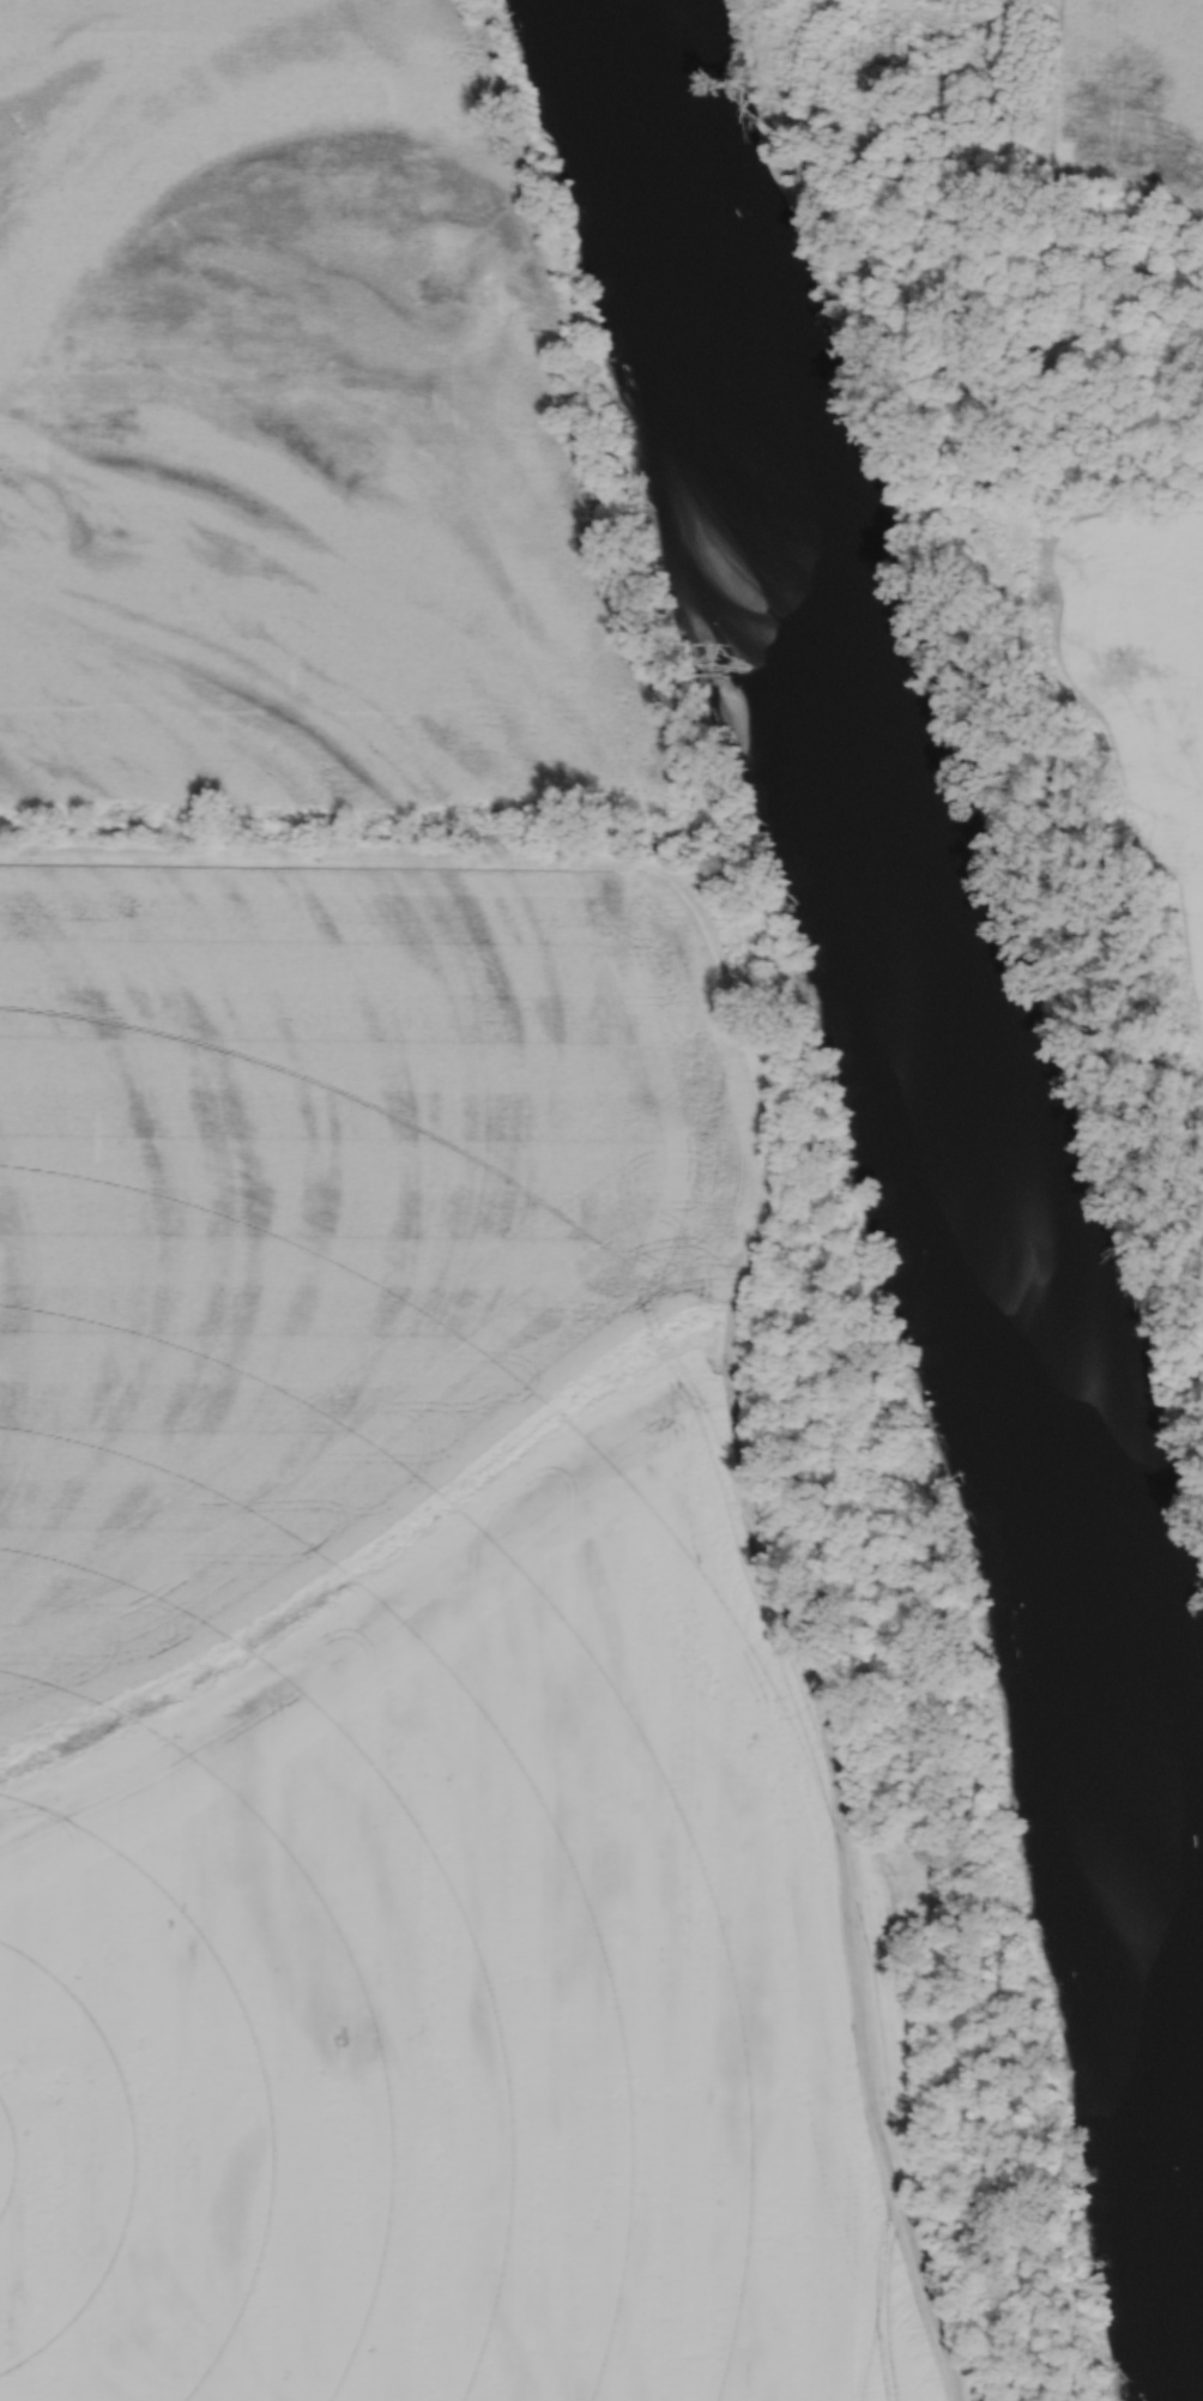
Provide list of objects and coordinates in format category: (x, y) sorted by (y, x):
river: (913, 1127)
road: (838, 1817)
crop: (460, 1989)

